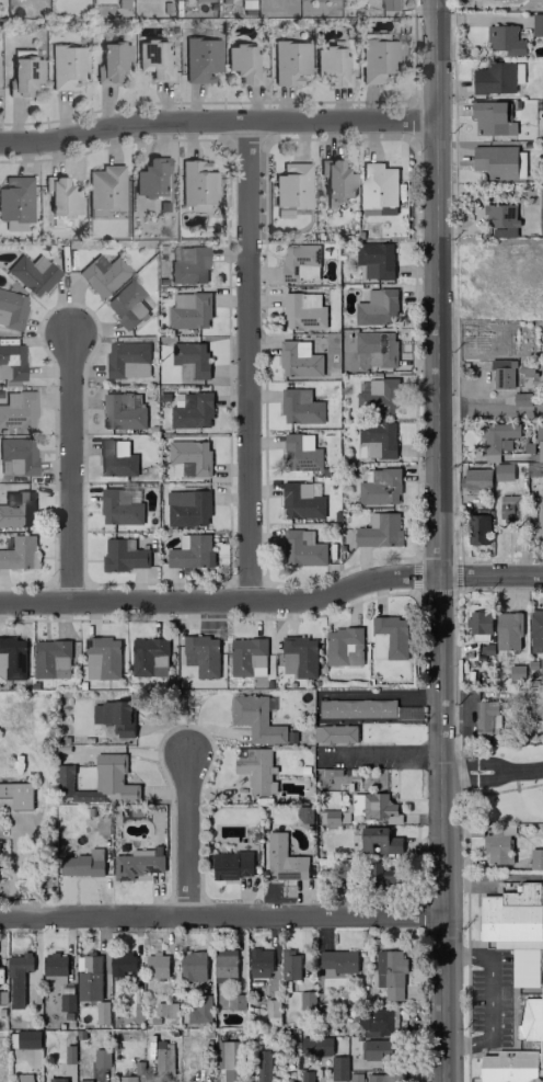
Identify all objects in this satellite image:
building: (245, 3)
building: (385, 4)
building: (536, 25)
building: (504, 39)
building: (152, 58)
building: (199, 59)
building: (111, 60)
building: (377, 60)
building: (289, 61)
building: (242, 64)
building: (331, 65)
building: (66, 67)
building: (23, 75)
building: (493, 78)
building: (492, 117)
road: (218, 122)
building: (499, 161)
building: (150, 176)
building: (335, 180)
building: (196, 183)
building: (378, 184)
building: (104, 187)
building: (291, 190)
building: (59, 196)
building: (15, 198)
building: (540, 209)
building: (500, 219)
building: (374, 259)
building: (300, 262)
building: (187, 264)
building: (32, 273)
building: (102, 274)
building: (126, 304)
building: (377, 307)
building: (11, 308)
building: (188, 310)
building: (303, 310)
building: (376, 346)
building: (127, 358)
building: (189, 358)
building: (299, 358)
building: (11, 362)
road: (250, 362)
building: (501, 373)
building: (377, 396)
building: (521, 398)
building: (300, 406)
building: (16, 409)
road: (489, 409)
building: (122, 410)
building: (190, 410)
building: (496, 434)
building: (539, 439)
building: (376, 440)
building: (300, 453)
building: (16, 456)
building: (188, 457)
building: (116, 458)
road: (72, 469)
building: (502, 471)
building: (476, 478)
building: (379, 486)
building: (301, 500)
building: (119, 506)
building: (16, 508)
building: (187, 508)
building: (508, 508)
building: (539, 515)
building: (477, 528)
building: (379, 529)
road: (436, 540)
building: (302, 548)
building: (20, 553)
building: (192, 553)
building: (123, 555)
road: (273, 602)
building: (478, 622)
building: (535, 629)
building: (507, 630)
building: (392, 635)
building: (343, 646)
building: (379, 646)
building: (201, 654)
building: (246, 654)
building: (148, 656)
building: (299, 656)
building: (12, 657)
building: (50, 658)
building: (102, 658)
building: (541, 669)
road: (379, 694)
building: (356, 707)
building: (113, 716)
building: (486, 717)
building: (256, 718)
building: (334, 733)
road: (138, 750)
road: (392, 751)
road: (472, 762)
building: (255, 768)
road: (522, 771)
road: (471, 779)
building: (99, 782)
building: (16, 794)
building: (374, 806)
building: (336, 816)
road: (189, 839)
building: (379, 840)
building: (497, 843)
building: (282, 858)
building: (535, 858)
building: (82, 863)
building: (137, 863)
building: (232, 864)
building: (381, 875)
road: (224, 914)
building: (519, 947)
building: (338, 960)
building: (120, 963)
building: (259, 963)
building: (54, 964)
building: (155, 965)
building: (192, 965)
building: (224, 965)
building: (289, 965)
building: (390, 972)
building: (88, 977)
building: (18, 978)
road: (490, 996)
building: (307, 1000)
building: (66, 1002)
building: (165, 1009)
building: (199, 1010)
building: (271, 1010)
building: (377, 1022)
building: (27, 1038)
building: (315, 1045)
building: (376, 1049)
building: (101, 1058)
building: (163, 1058)
building: (231, 1061)
building: (262, 1066)
building: (508, 1067)
building: (338, 1068)
building: (307, 1075)
building: (23, 1078)
building: (384, 1078)
building: (56, 1079)
building: (126, 1079)
building: (83, 1080)

